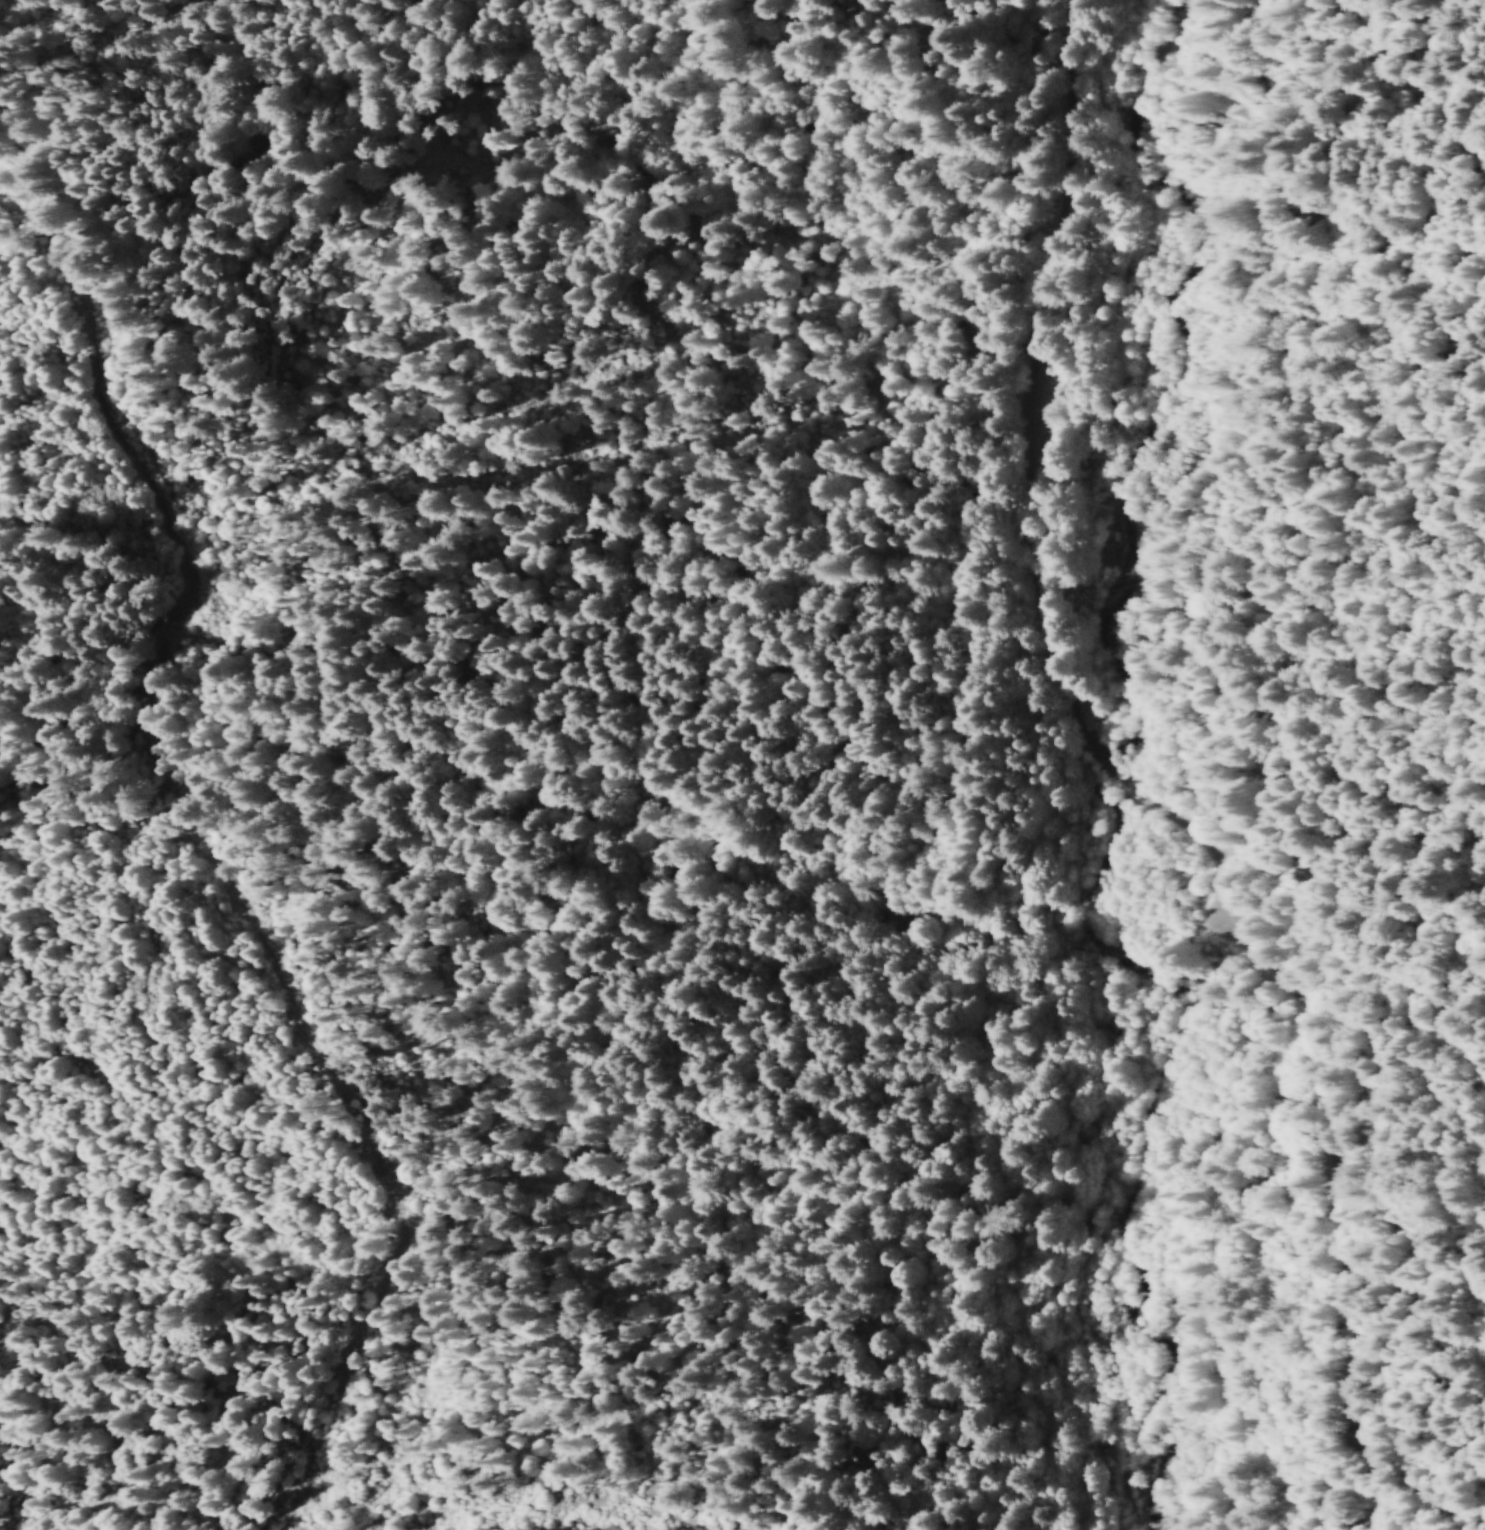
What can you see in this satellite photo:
road: (1006, 762)
road: (1272, 1054)

